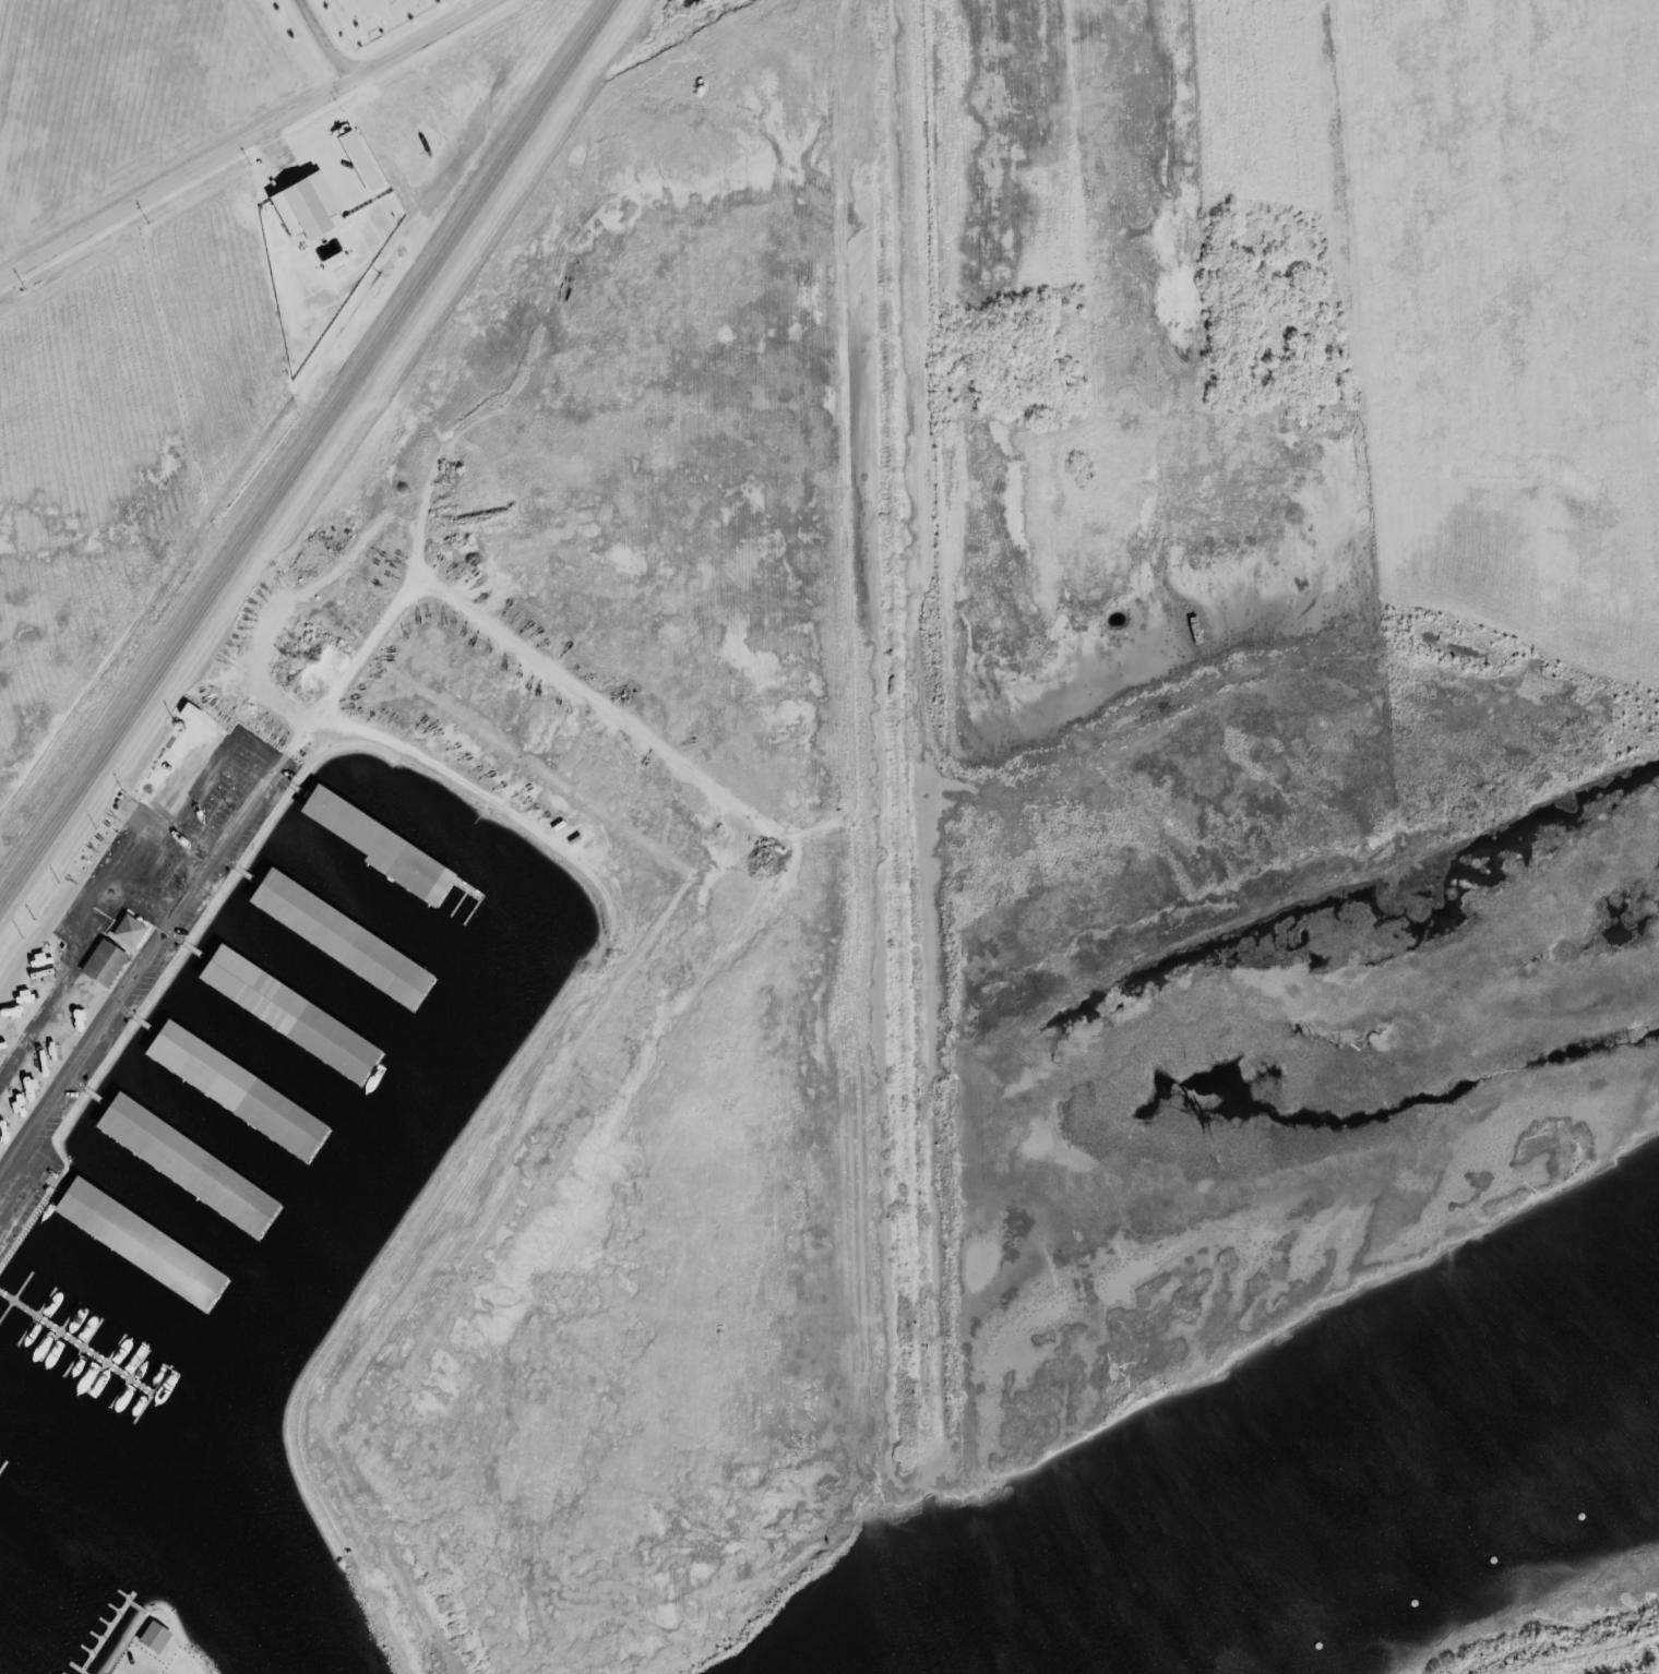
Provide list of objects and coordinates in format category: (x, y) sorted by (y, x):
park: (374, 16)
road: (325, 39)
road: (242, 139)
building: (183, 713)
road: (851, 780)
building: (370, 847)
building: (121, 931)
building: (333, 936)
building: (97, 964)
road: (140, 972)
building: (281, 1014)
building: (229, 1089)
building: (179, 1164)
building: (132, 1243)
pier: (15, 1295)
pier: (35, 1316)
pier: (59, 1331)
pier: (75, 1342)
pier: (81, 1347)
pier: (105, 1362)
pier: (129, 1379)
pier: (151, 1394)
road: (140, 1650)

